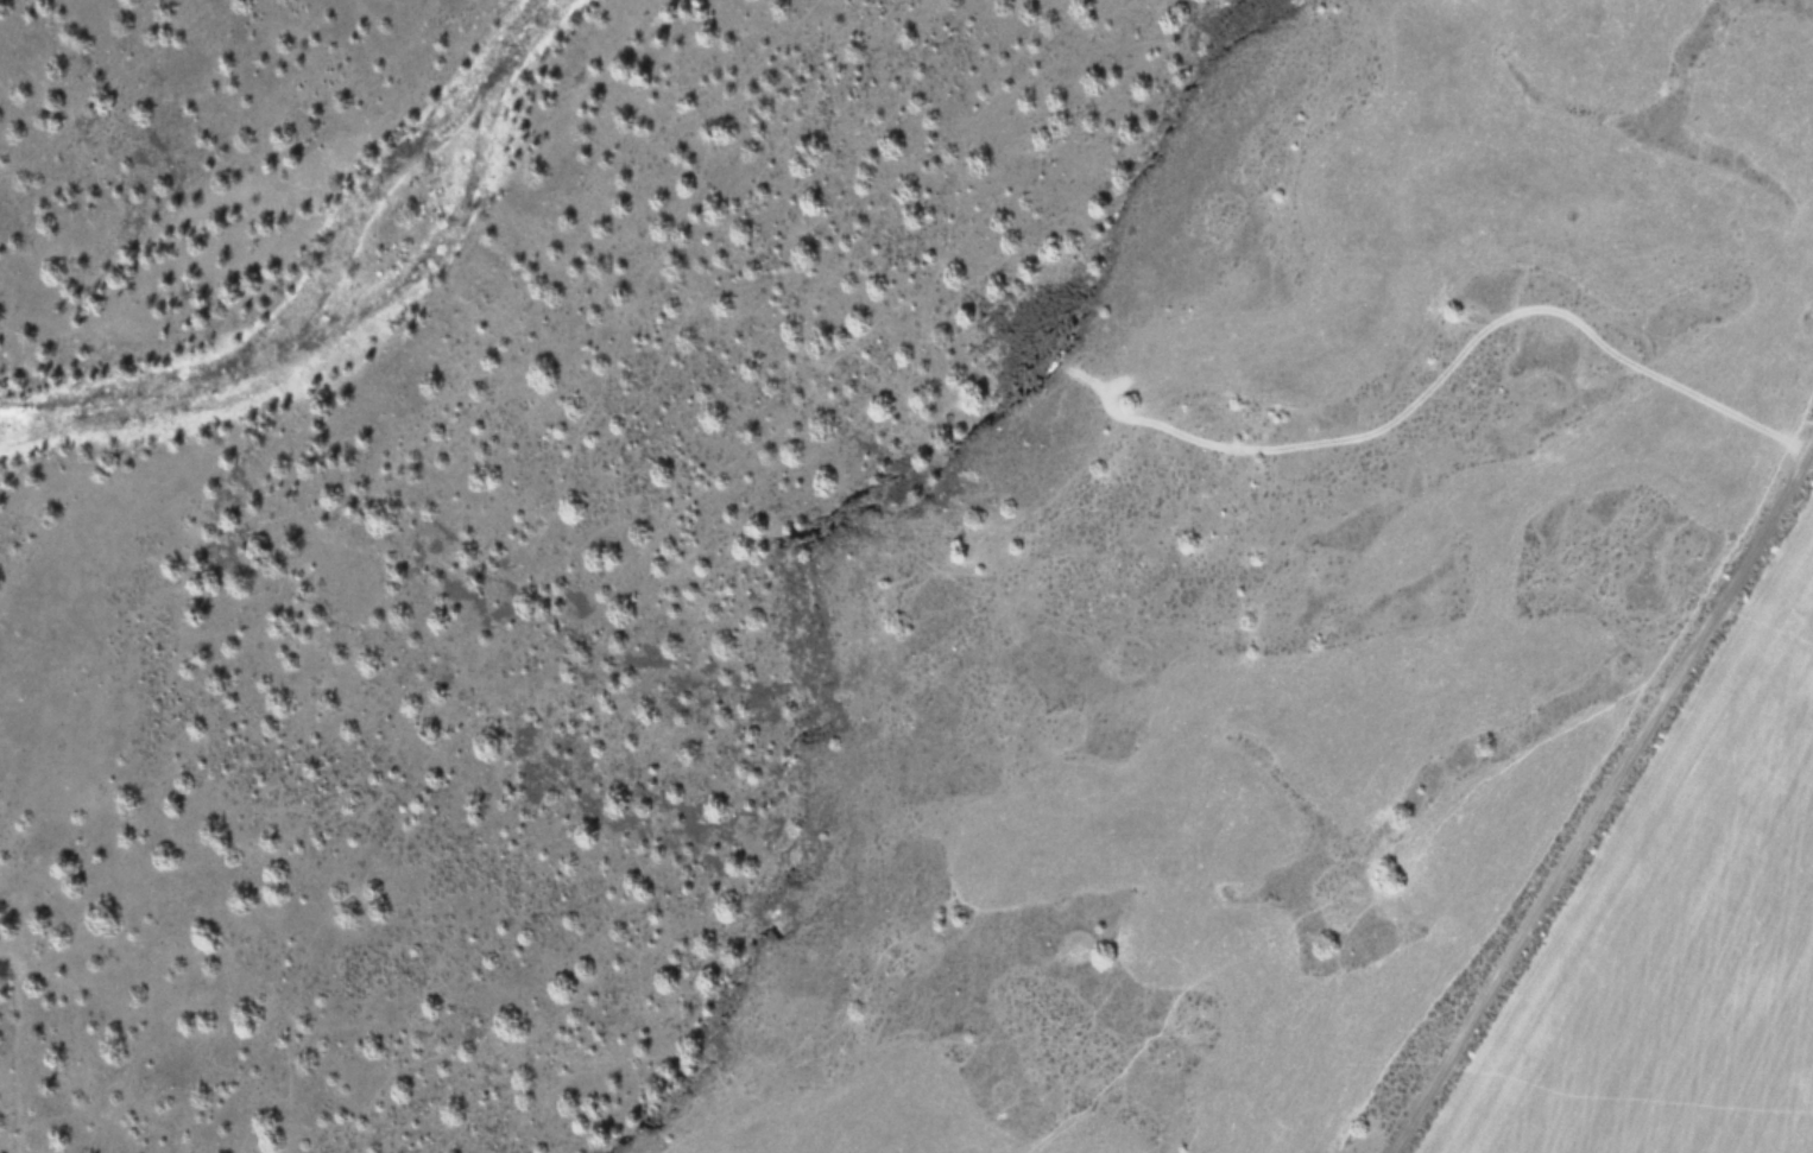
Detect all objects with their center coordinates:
road: (1599, 796)

